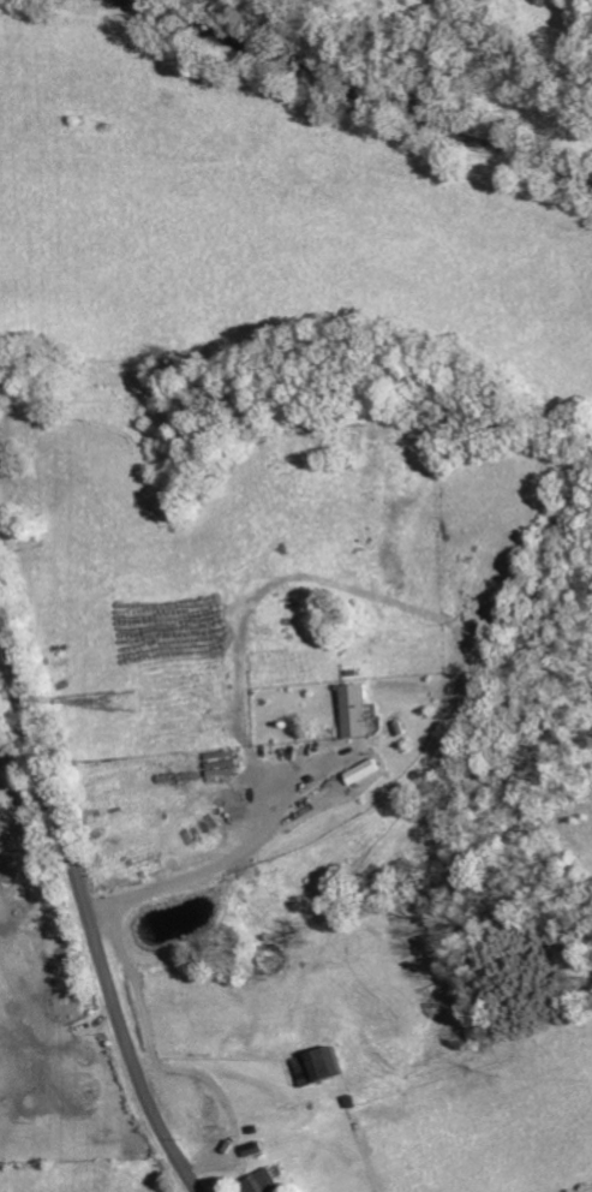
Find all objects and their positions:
power tower: (118, 701)
building: (359, 710)
building: (370, 771)
road: (214, 870)
road: (84, 905)
building: (327, 1065)
building: (265, 1182)

